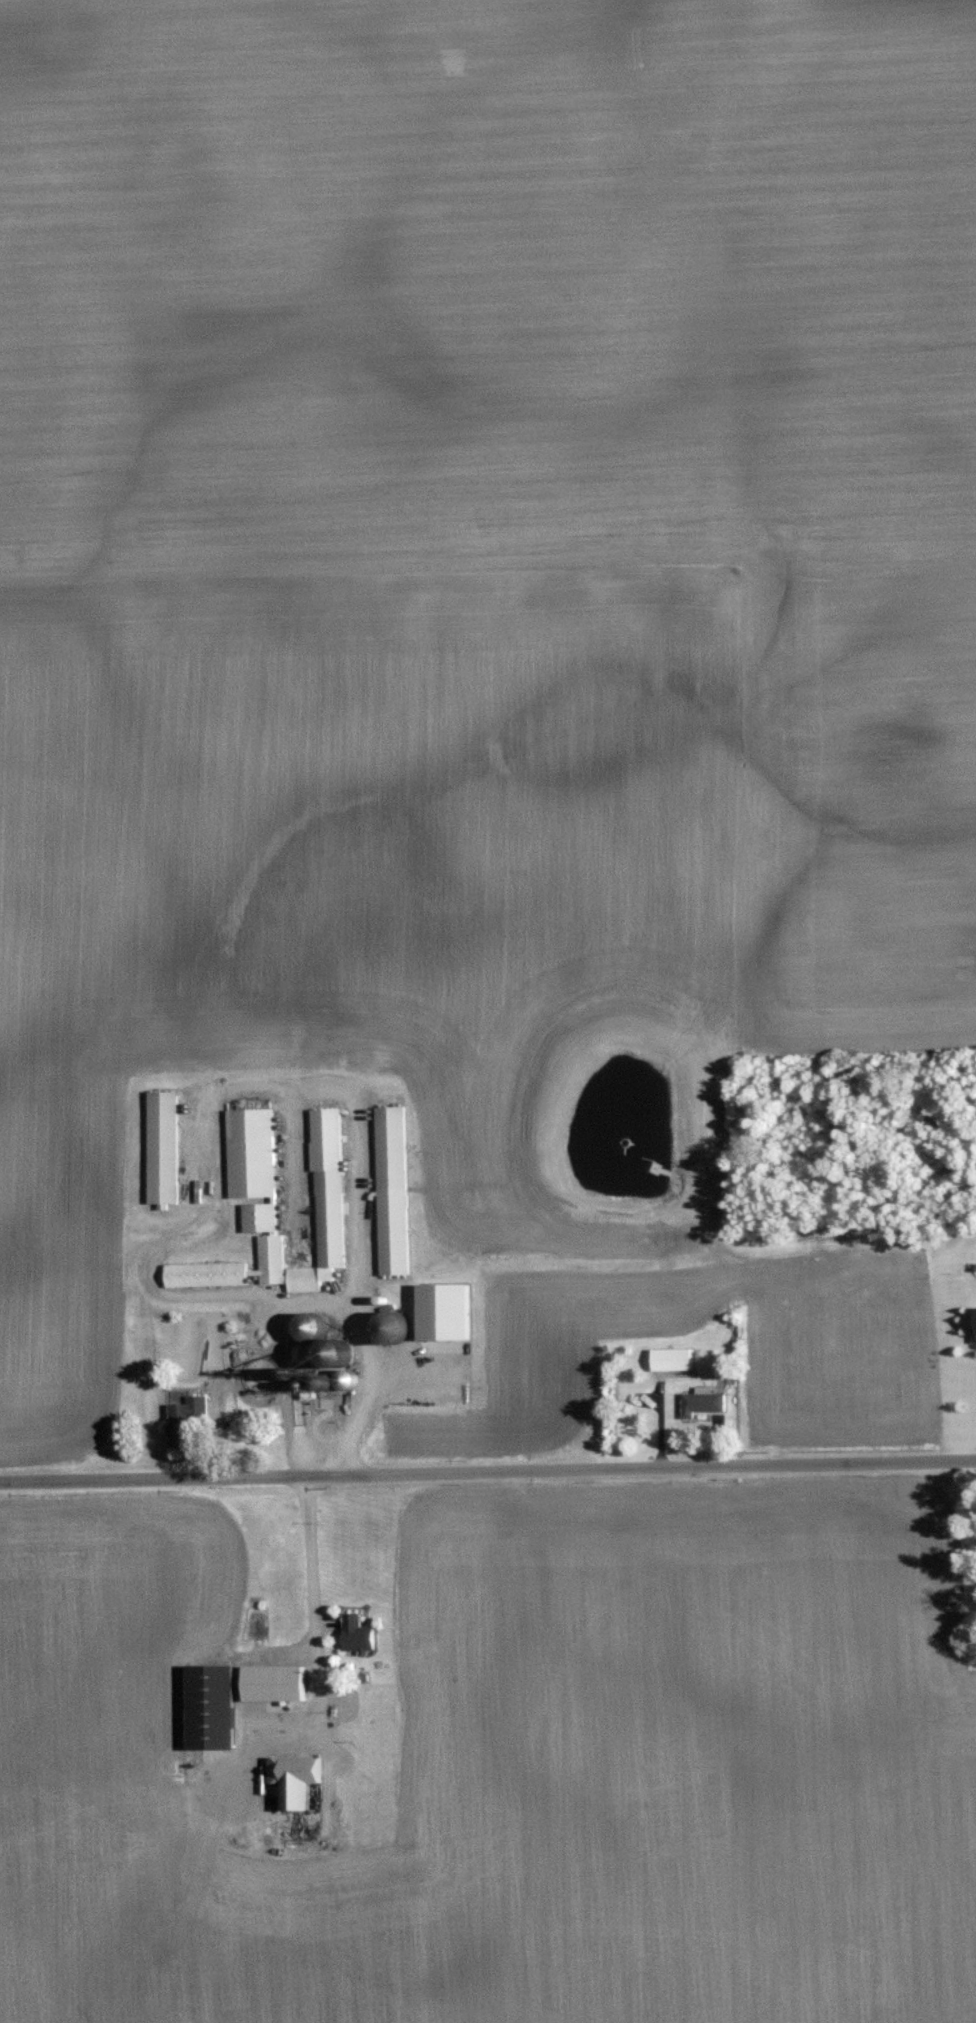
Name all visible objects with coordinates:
building: (252, 1153)
building: (329, 1156)
building: (394, 1190)
road: (316, 1303)
building: (448, 1312)
building: (398, 1327)
building: (674, 1360)
building: (703, 1404)
building: (188, 1421)
road: (487, 1470)
road: (314, 1595)
building: (359, 1634)
building: (278, 1683)
building: (214, 1707)
building: (298, 1779)

